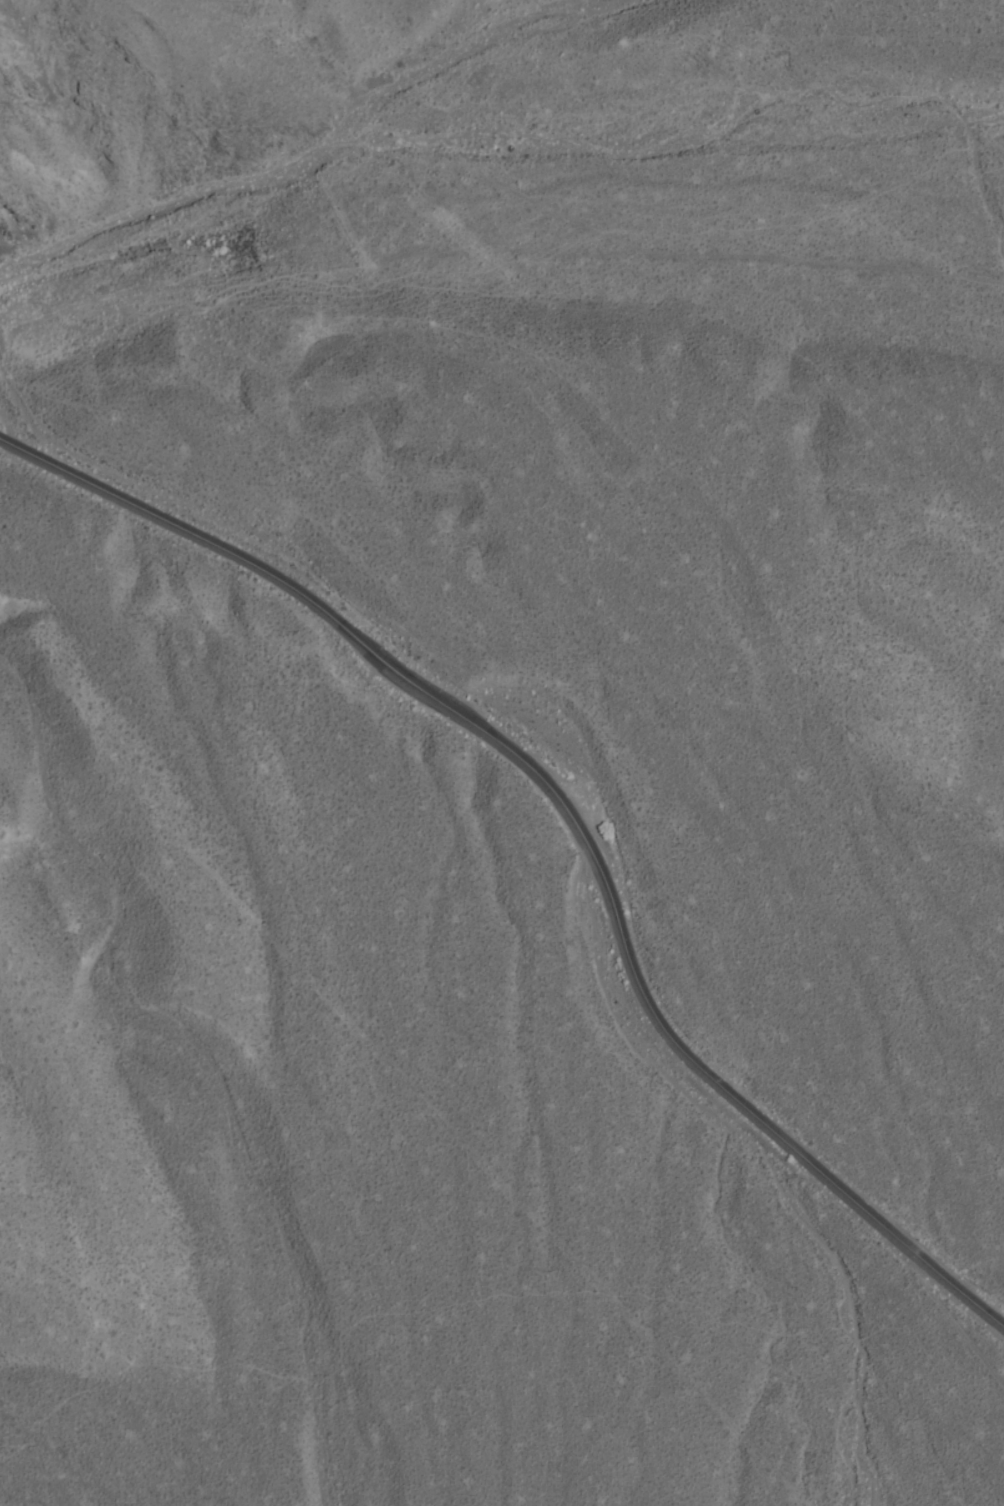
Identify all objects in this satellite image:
road: (412, 58)
road: (495, 183)
road: (87, 306)
road: (6, 427)
road: (521, 763)
road: (950, 1280)
road: (948, 1312)

